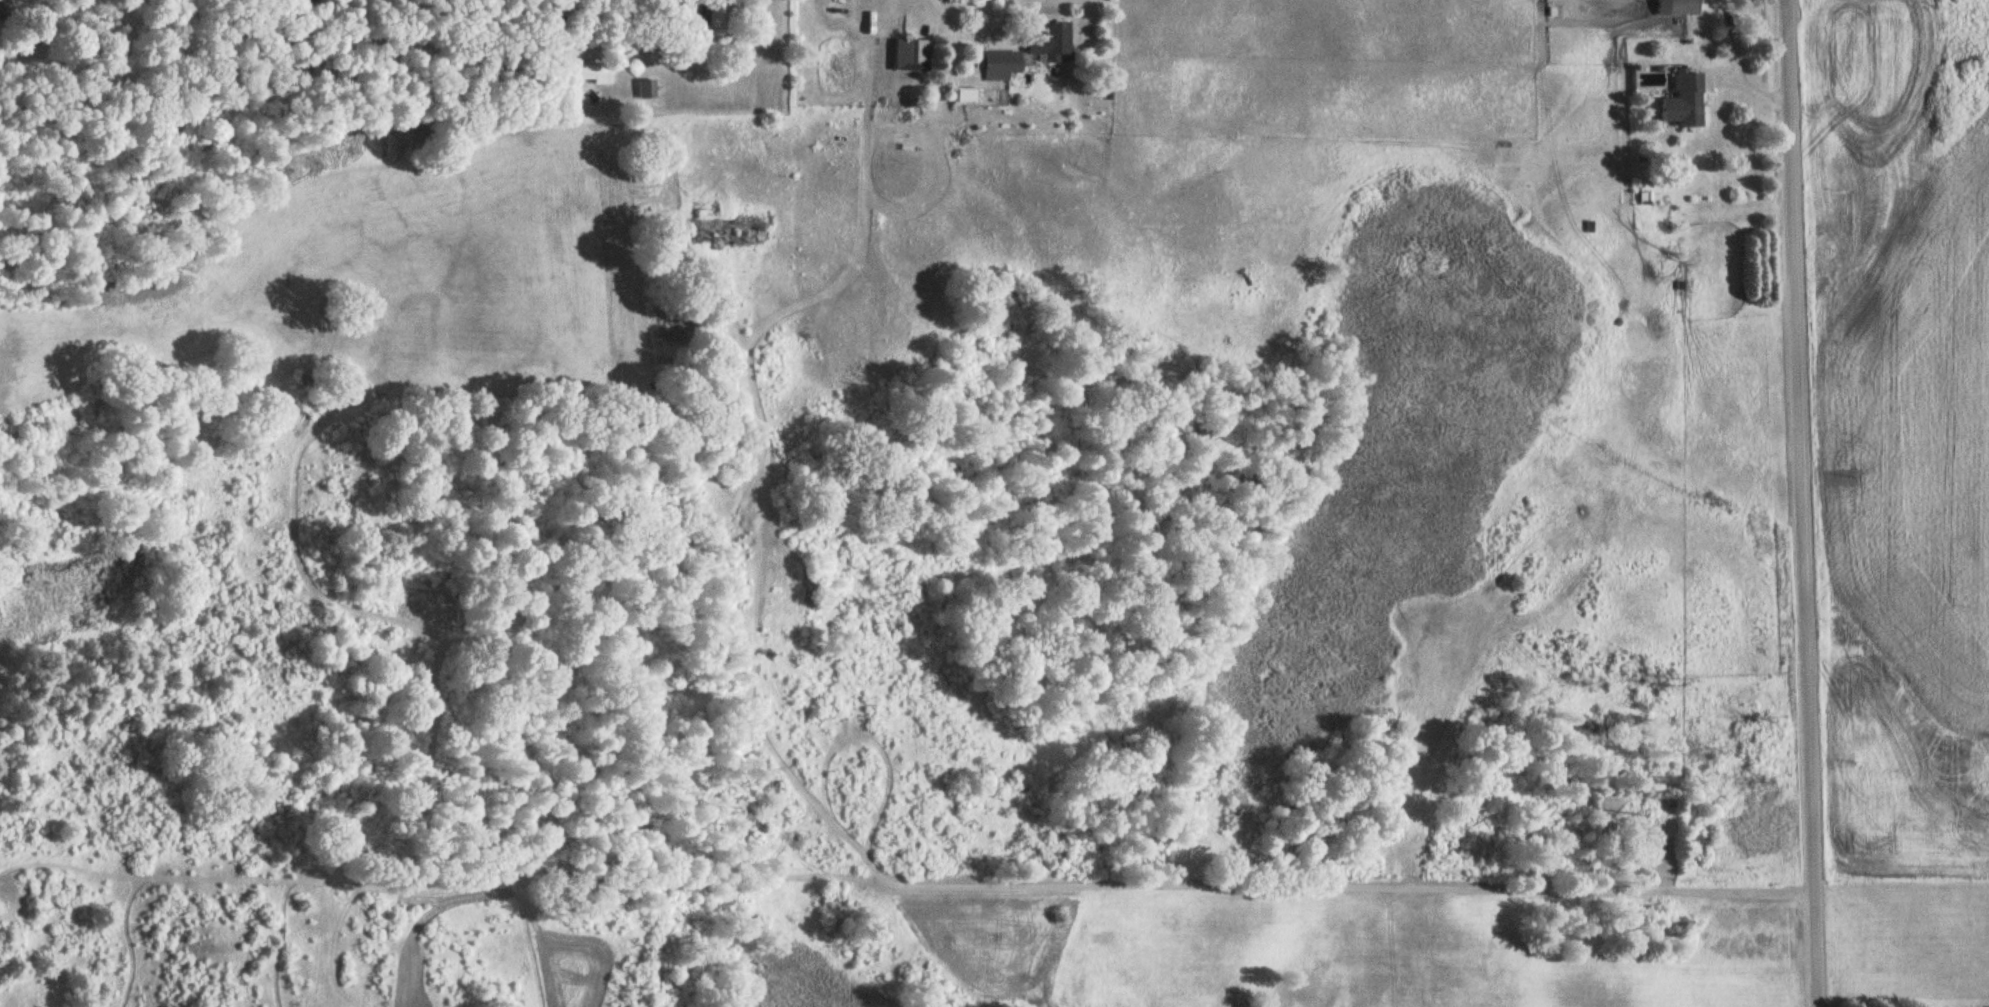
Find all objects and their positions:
building: (1680, 7)
building: (2, 11)
building: (1052, 43)
building: (911, 55)
building: (1002, 62)
building: (591, 73)
building: (646, 89)
building: (1686, 102)
building: (706, 233)
road: (1805, 503)
road: (1362, 885)

